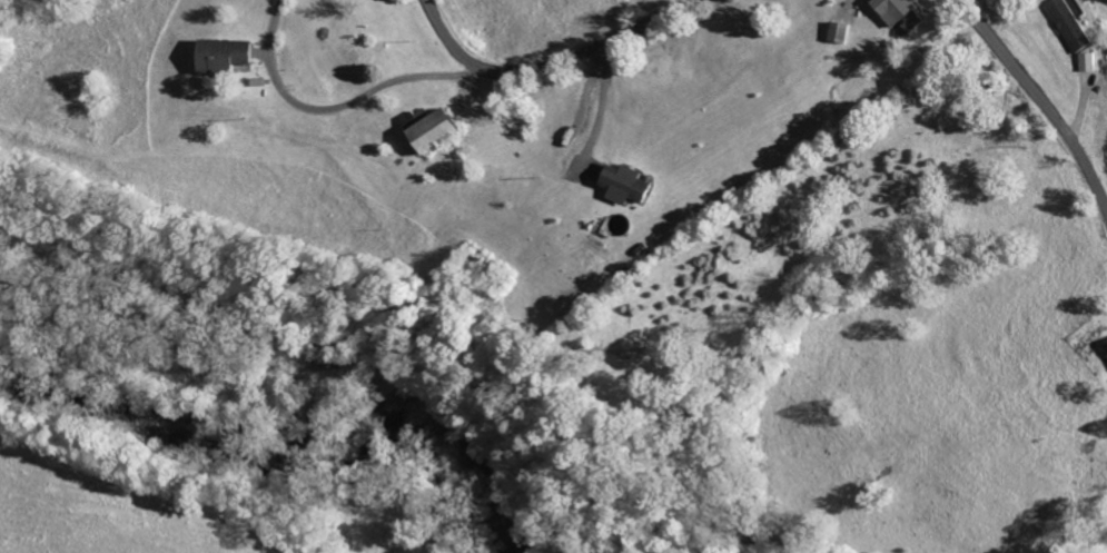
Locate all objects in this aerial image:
building: (895, 12)
building: (1069, 22)
building: (218, 56)
building: (1087, 61)
road: (550, 66)
road: (1040, 101)
road: (336, 109)
road: (599, 113)
building: (426, 132)
building: (623, 185)
building: (1105, 346)

